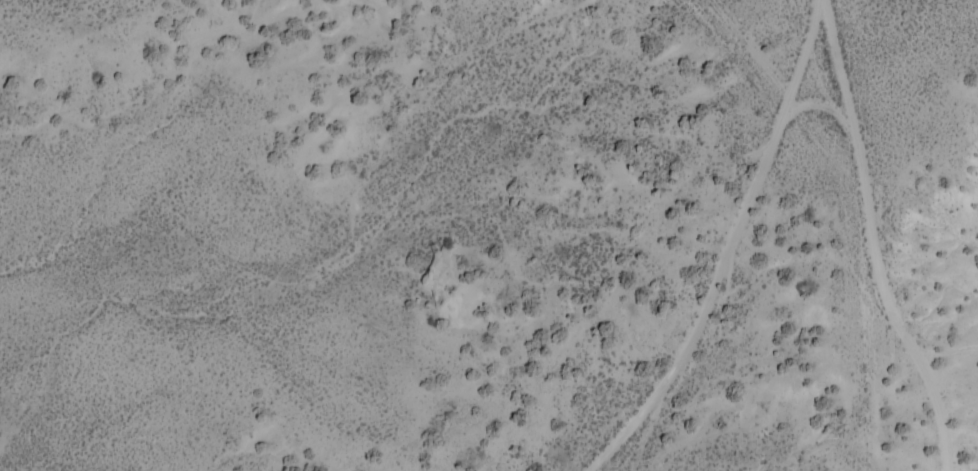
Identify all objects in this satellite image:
road: (820, 2)
road: (873, 238)

